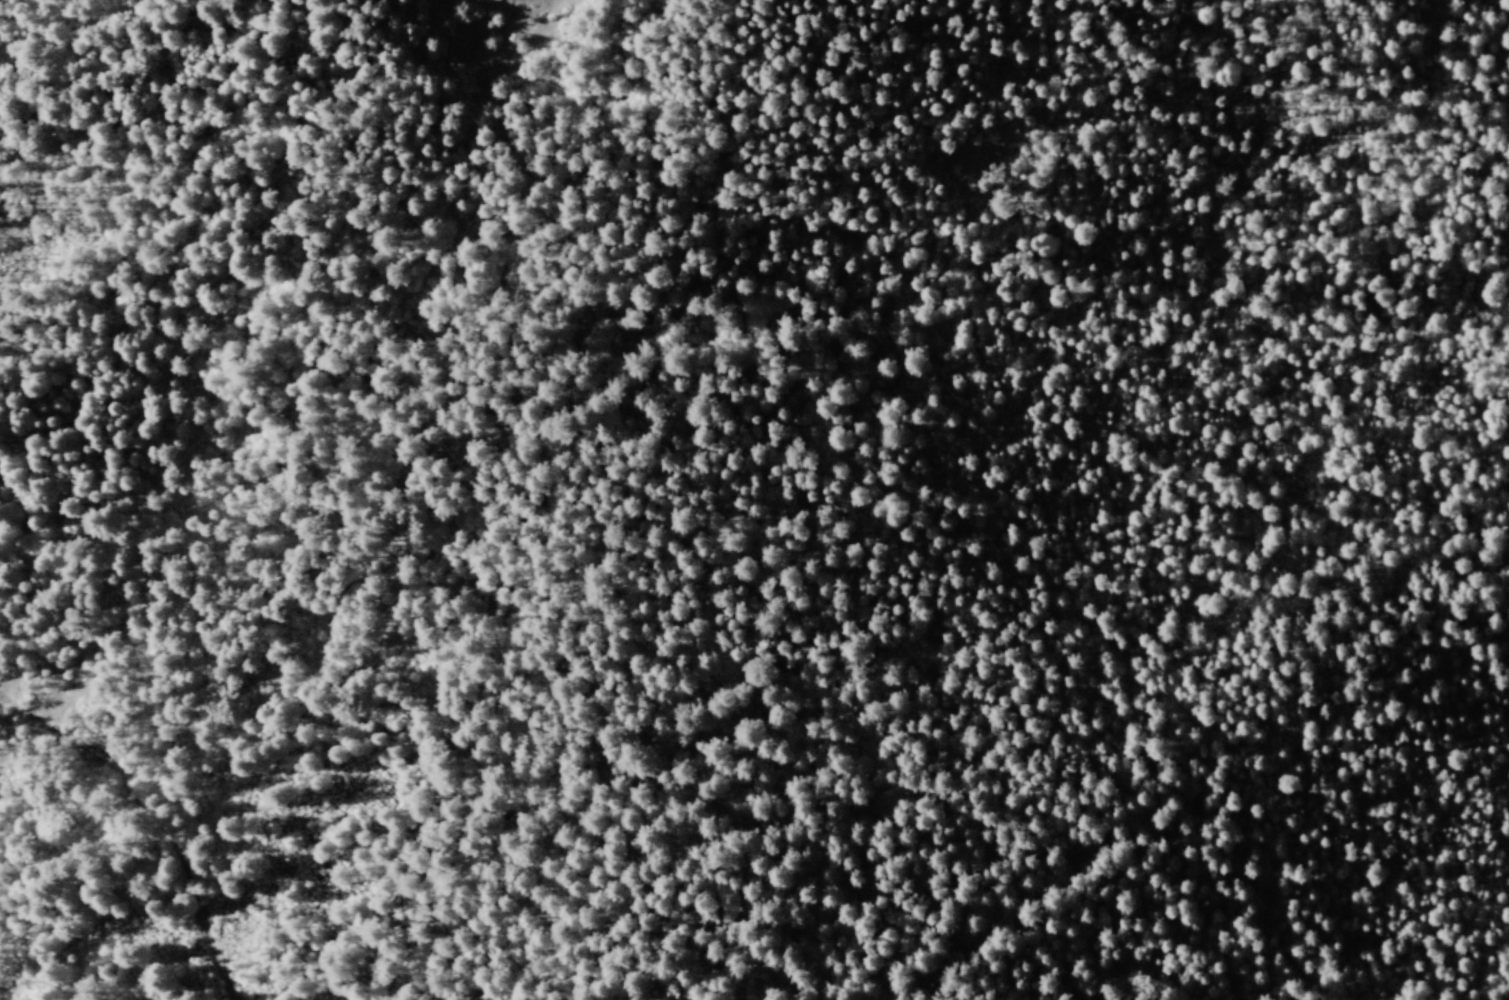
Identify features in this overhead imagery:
road: (157, 811)

